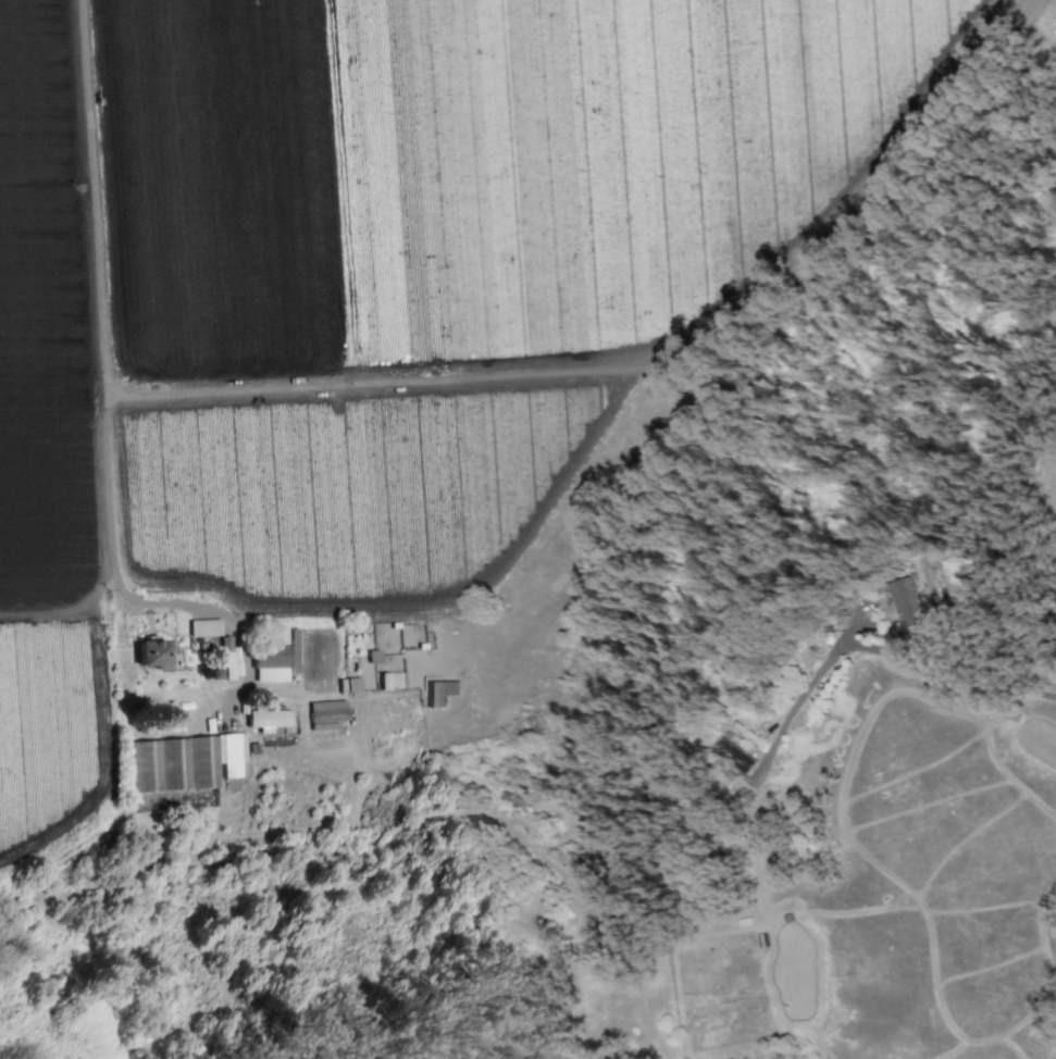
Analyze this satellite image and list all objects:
road: (94, 194)
crop: (373, 295)
road: (649, 366)
building: (908, 601)
road: (132, 603)
building: (203, 627)
road: (871, 650)
building: (151, 651)
building: (373, 656)
building: (269, 662)
building: (383, 681)
building: (352, 684)
building: (440, 692)
building: (326, 713)
building: (265, 717)
building: (169, 720)
building: (735, 756)
building: (185, 761)

